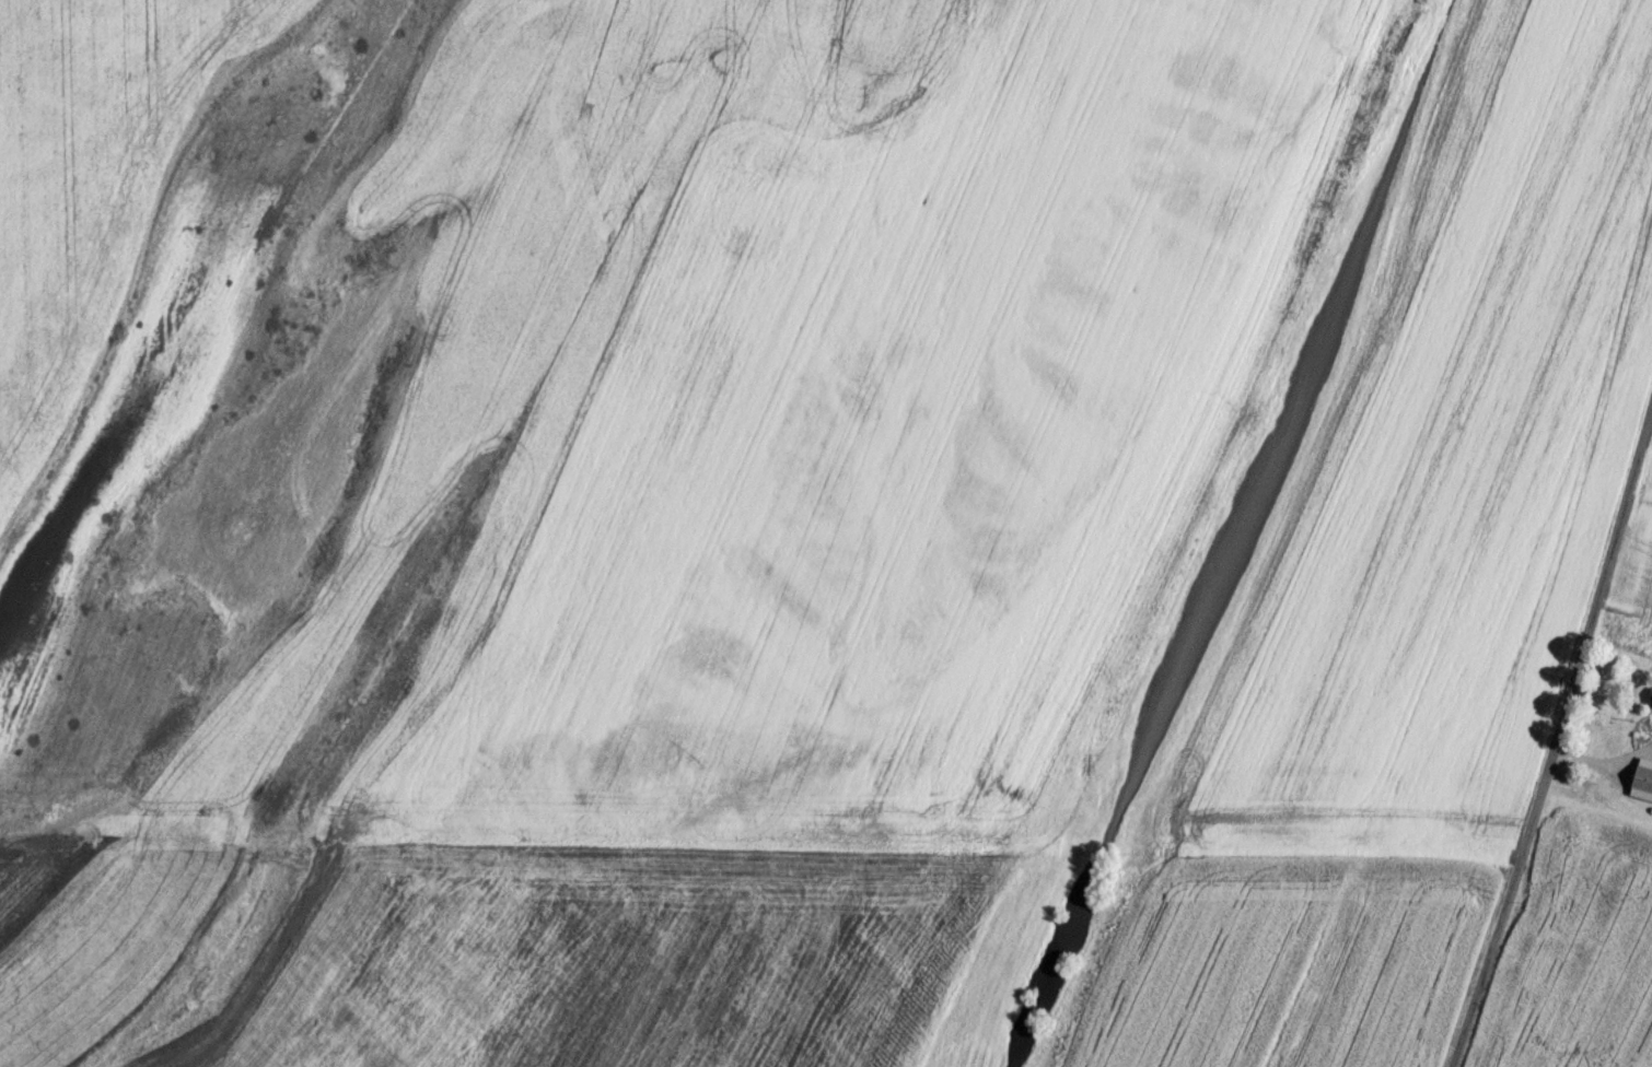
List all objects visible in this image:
building: (1649, 696)
road: (1556, 735)
road: (1602, 759)
building: (1642, 778)

